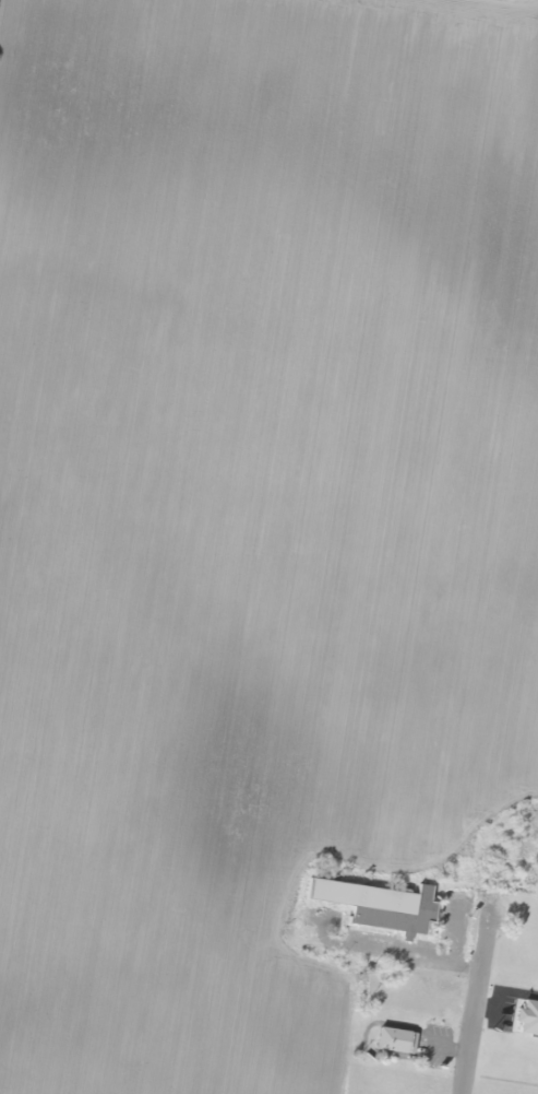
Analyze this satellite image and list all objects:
building: (373, 905)
building: (391, 1040)

